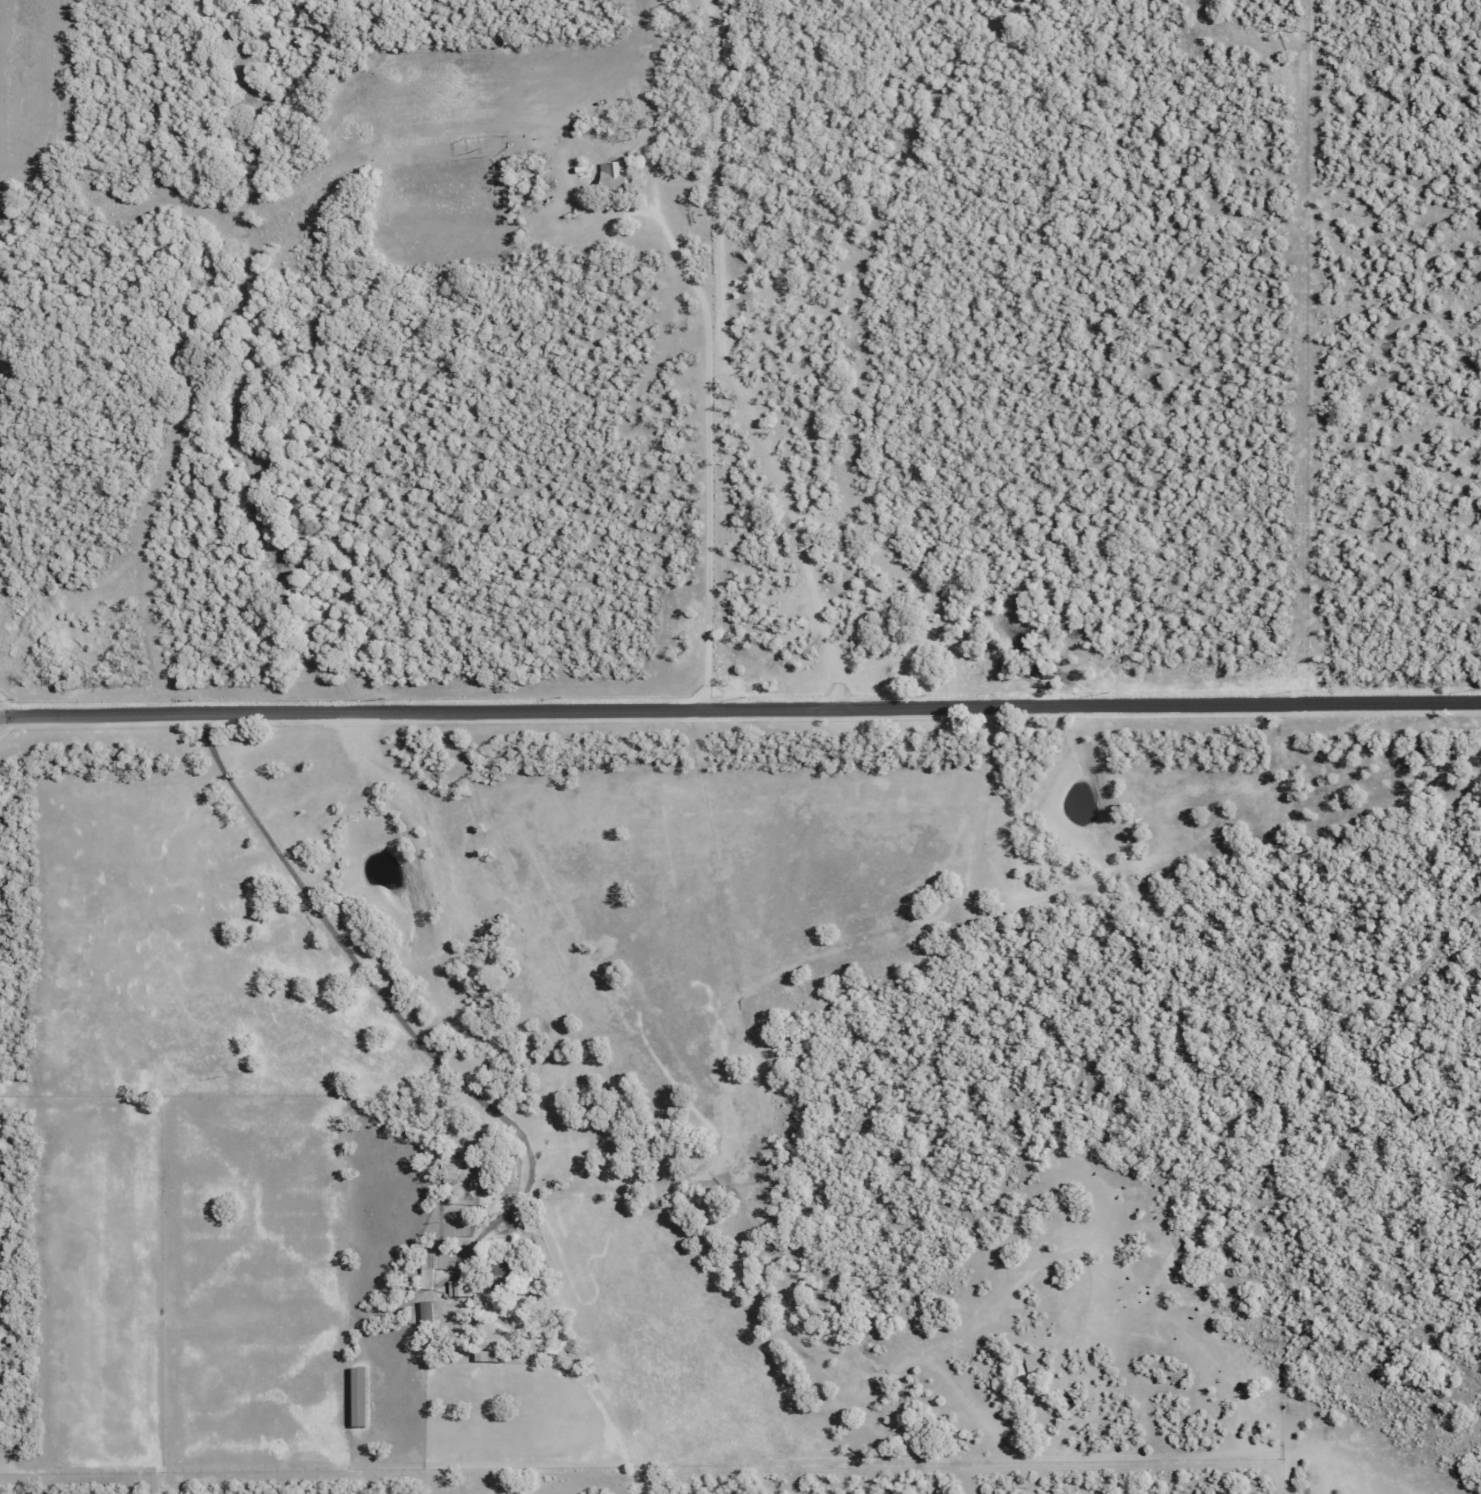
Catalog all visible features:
building: (614, 174)
road: (726, 361)
road: (740, 708)
road: (336, 945)
building: (450, 1168)
building: (432, 1267)
building: (500, 1273)
building: (455, 1289)
building: (425, 1314)
building: (358, 1396)

